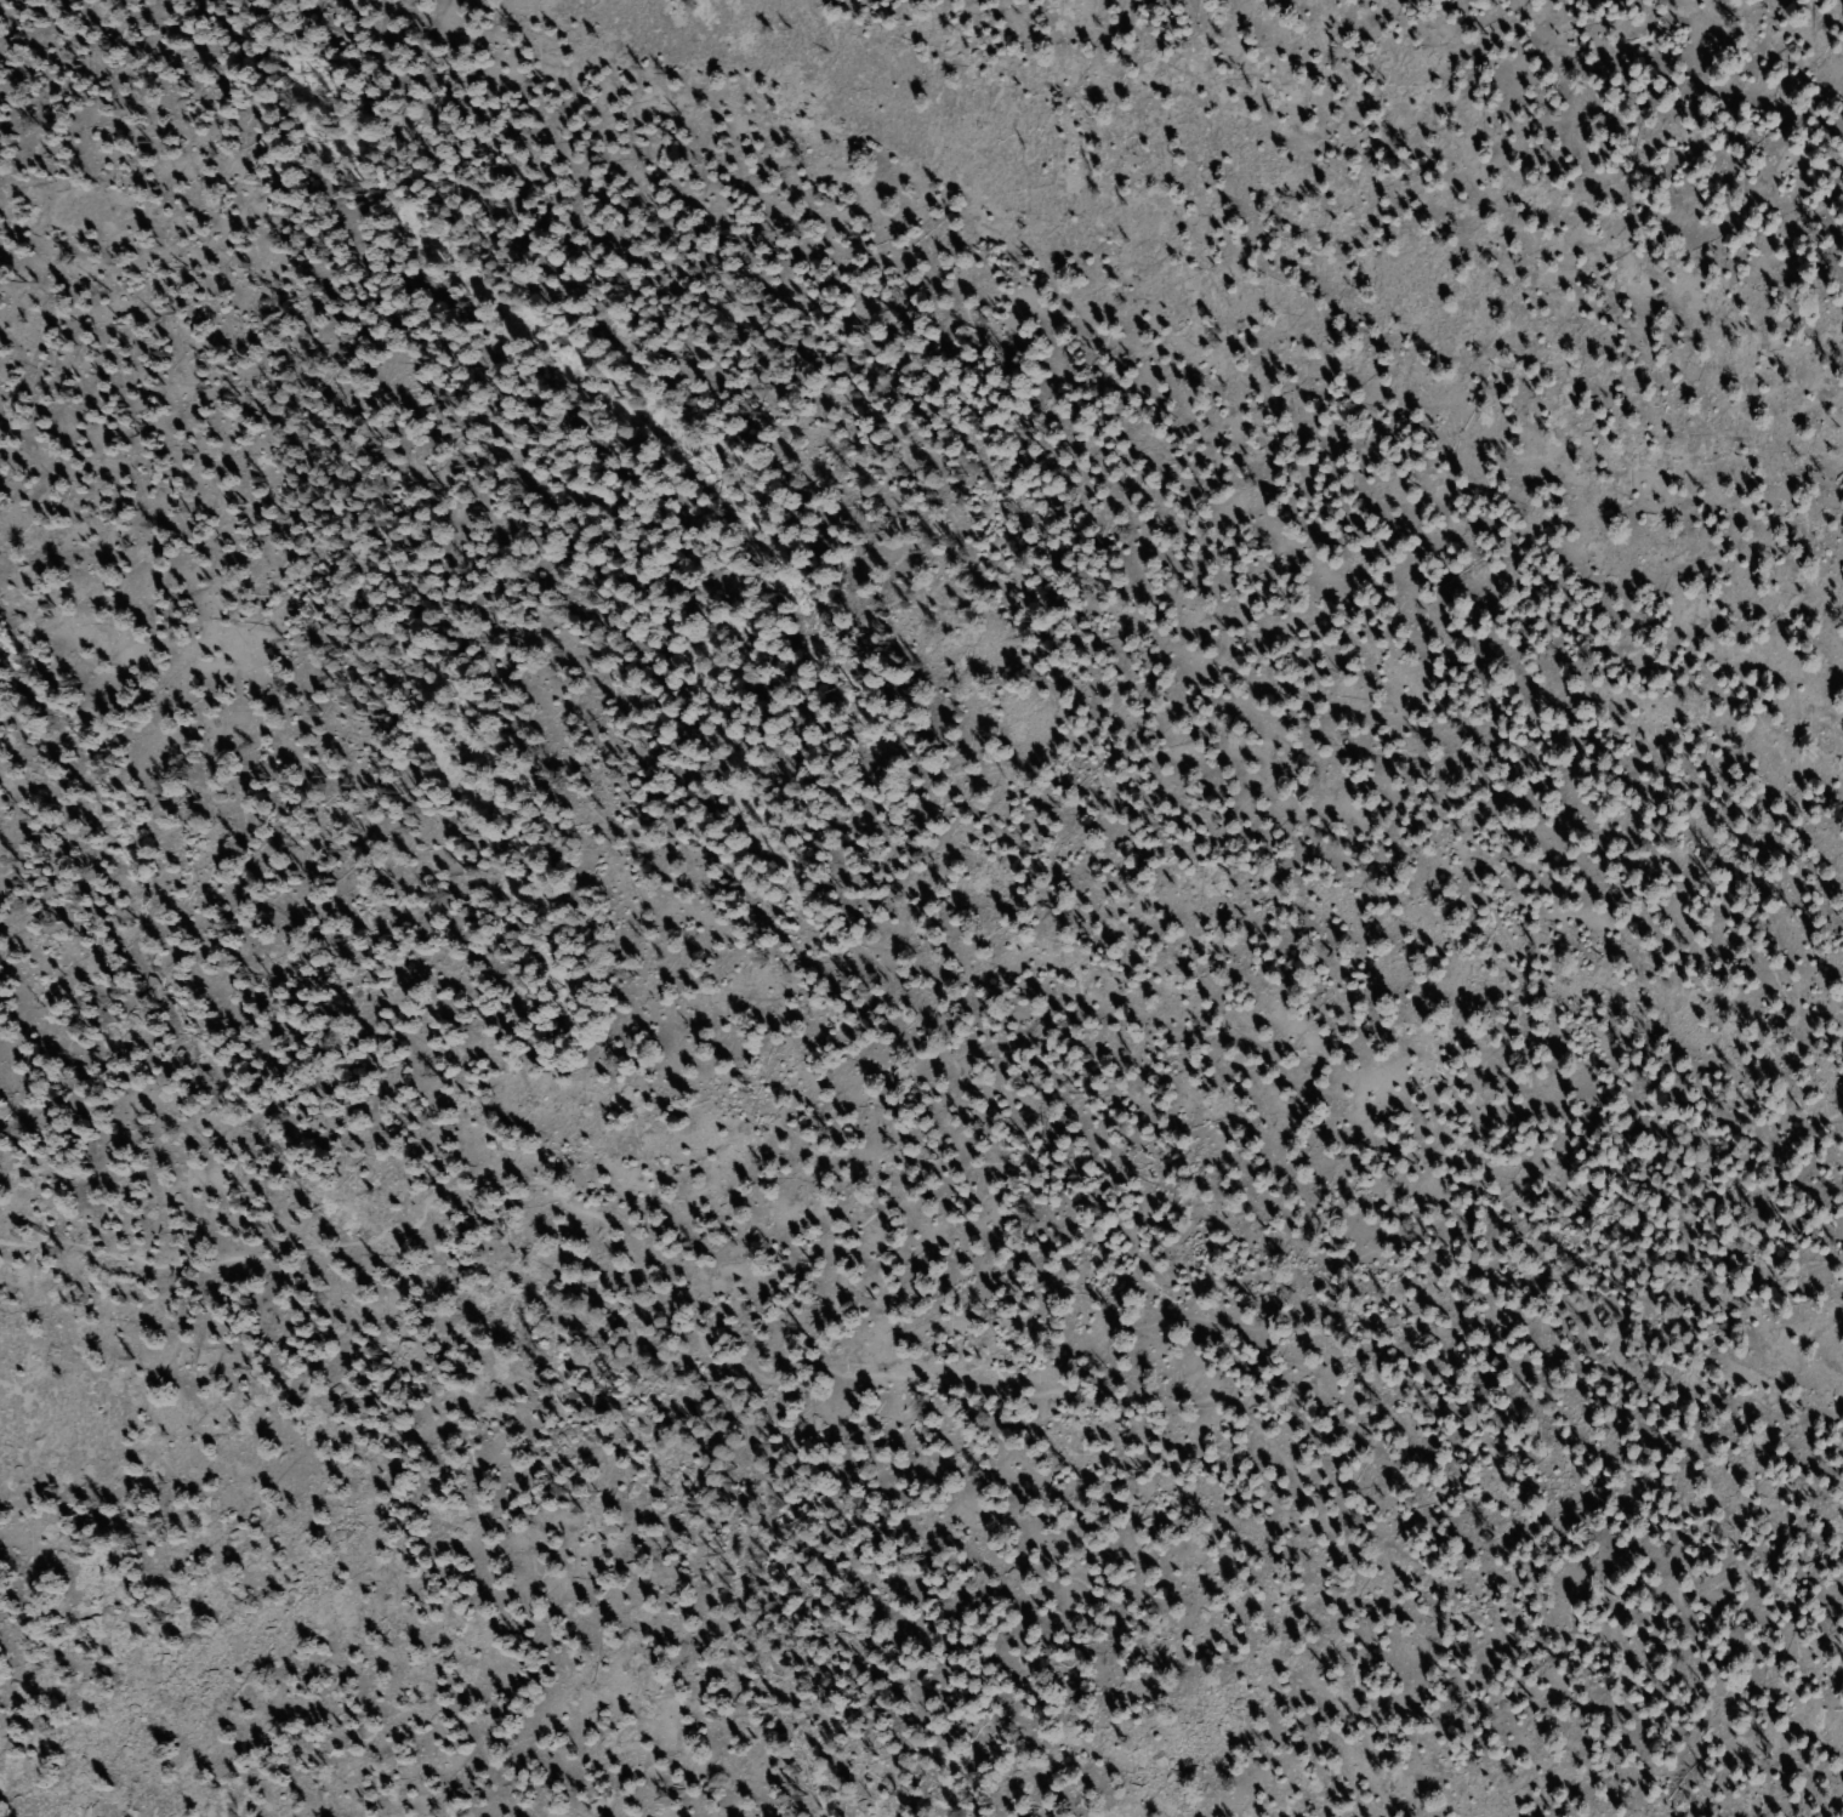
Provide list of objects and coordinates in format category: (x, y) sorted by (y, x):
road: (1451, 1213)
road: (784, 1361)

